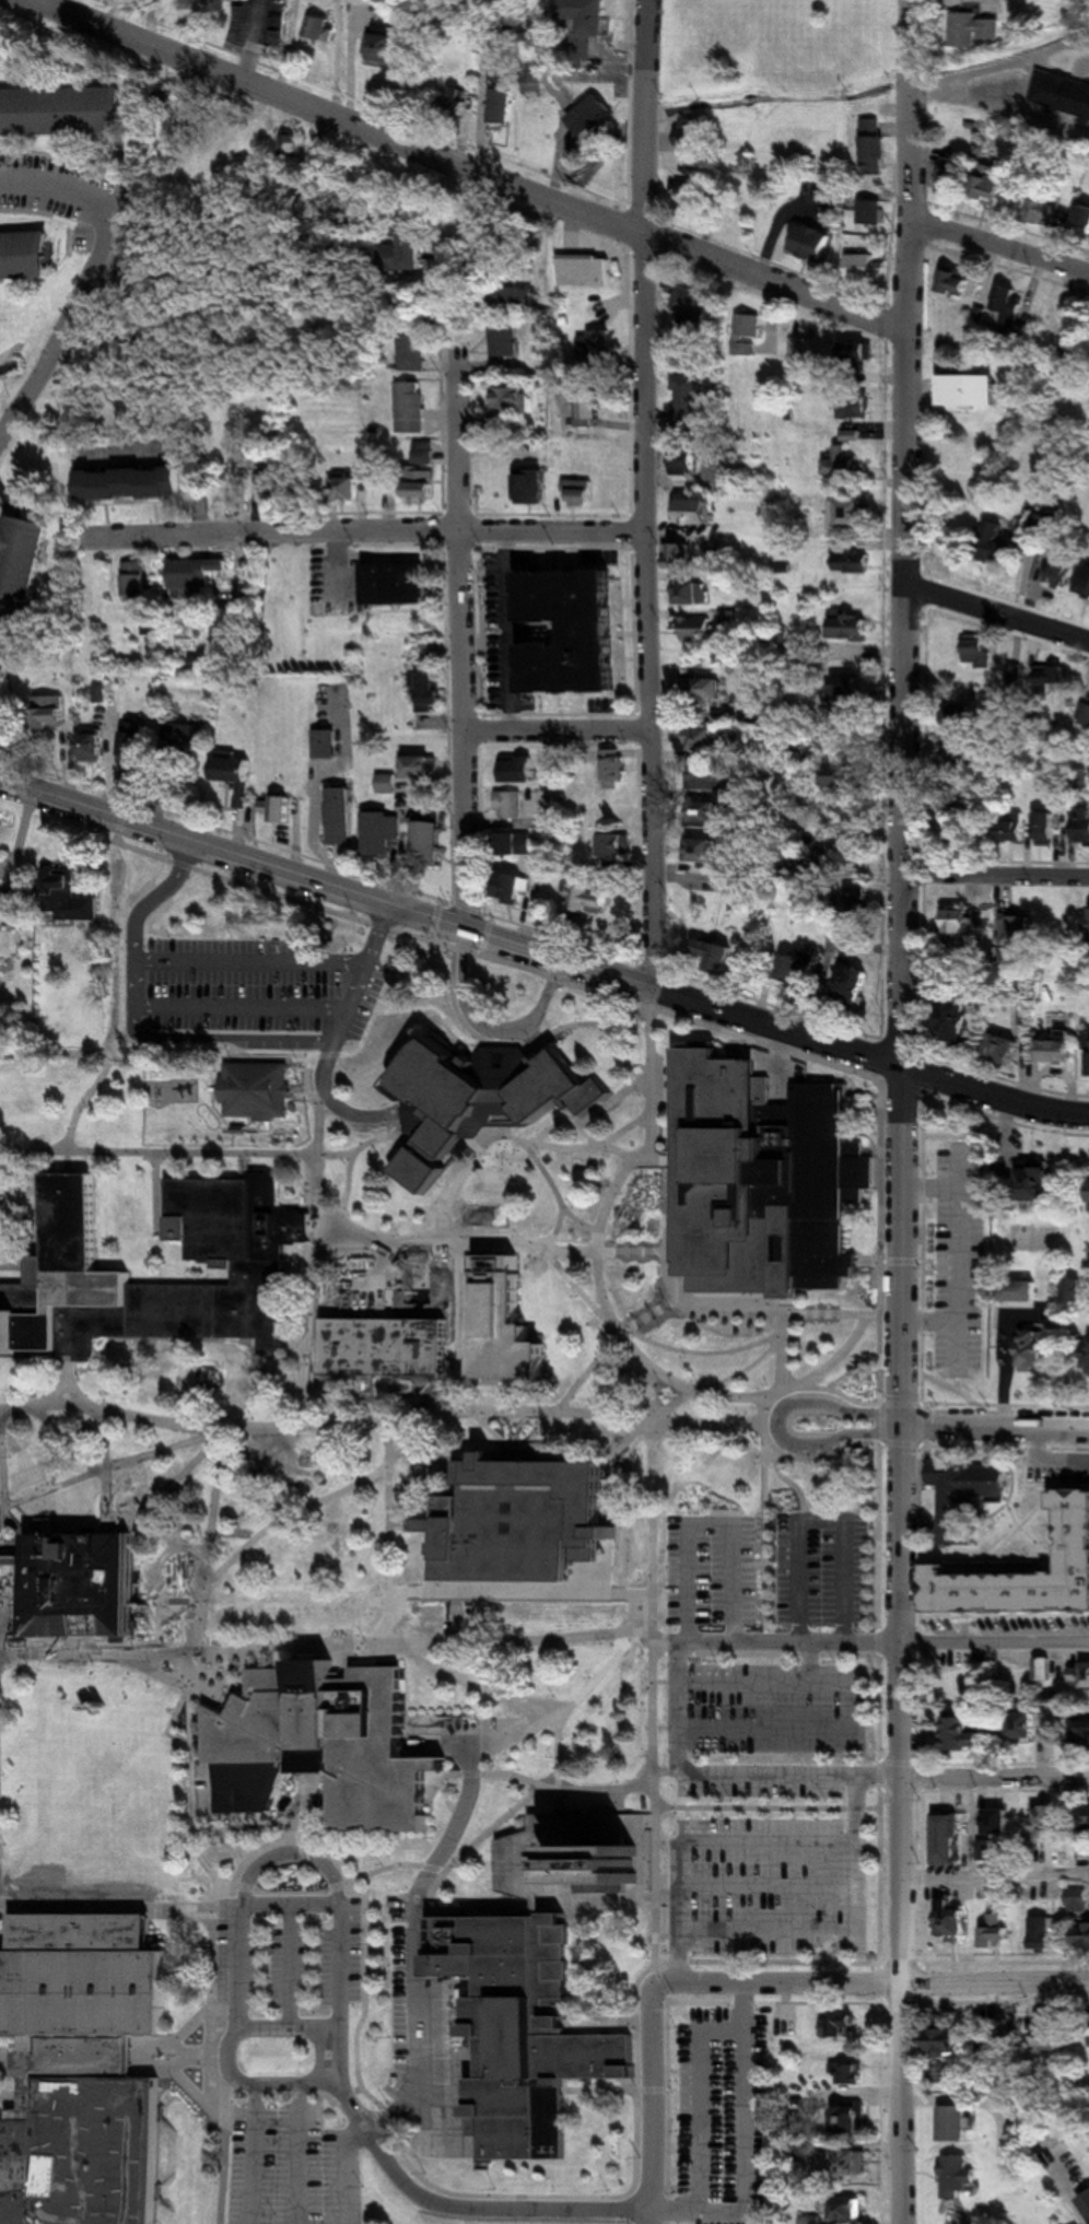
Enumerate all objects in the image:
road: (47, 3)
building: (583, 27)
building: (974, 28)
building: (324, 30)
road: (253, 42)
building: (384, 44)
park: (778, 49)
building: (502, 71)
building: (532, 78)
building: (457, 101)
building: (501, 107)
building: (63, 112)
building: (593, 115)
road: (658, 119)
road: (342, 120)
building: (694, 136)
building: (875, 149)
road: (909, 164)
building: (951, 173)
road: (555, 177)
building: (994, 185)
parking lot: (69, 204)
building: (870, 212)
building: (1049, 212)
building: (1084, 220)
building: (810, 243)
road: (998, 243)
building: (130, 250)
building: (407, 250)
building: (28, 256)
building: (860, 268)
building: (585, 271)
building: (959, 282)
road: (783, 284)
road: (87, 290)
building: (517, 299)
building: (692, 307)
building: (1007, 309)
building: (1050, 315)
building: (748, 335)
building: (506, 341)
building: (414, 348)
building: (598, 349)
building: (804, 349)
building: (858, 353)
building: (972, 391)
building: (512, 399)
building: (689, 402)
building: (853, 406)
building: (411, 408)
building: (592, 408)
building: (424, 454)
building: (684, 463)
building: (841, 465)
building: (133, 483)
building: (422, 484)
building: (532, 485)
building: (288, 489)
building: (350, 489)
building: (579, 493)
road: (136, 505)
building: (698, 513)
building: (848, 515)
road: (444, 517)
road: (171, 519)
road: (371, 532)
road: (3, 541)
building: (1014, 543)
building: (680, 555)
building: (853, 562)
building: (22, 569)
building: (499, 569)
building: (541, 569)
building: (576, 569)
building: (203, 574)
building: (1063, 575)
building: (142, 581)
building: (401, 583)
building: (1087, 587)
building: (694, 592)
building: (609, 605)
road: (997, 611)
road: (659, 614)
building: (733, 617)
building: (854, 623)
building: (699, 628)
road: (475, 643)
building: (979, 652)
building: (1017, 675)
building: (595, 676)
building: (1053, 679)
building: (541, 682)
building: (500, 688)
building: (707, 688)
building: (429, 690)
building: (853, 691)
road: (904, 699)
building: (1088, 700)
building: (51, 712)
building: (962, 715)
road: (567, 733)
building: (137, 737)
building: (711, 738)
building: (190, 739)
building: (326, 744)
building: (94, 746)
building: (963, 754)
building: (523, 764)
building: (422, 768)
building: (614, 771)
building: (238, 774)
building: (845, 775)
building: (712, 776)
road: (63, 777)
building: (388, 783)
building: (1074, 784)
building: (511, 805)
building: (281, 807)
building: (709, 811)
building: (340, 816)
building: (548, 820)
building: (958, 821)
building: (1014, 826)
building: (1085, 826)
building: (1049, 828)
building: (383, 831)
building: (618, 843)
building: (428, 844)
building: (522, 844)
building: (711, 848)
building: (842, 851)
road: (996, 871)
road: (397, 885)
building: (515, 889)
building: (593, 894)
building: (863, 897)
building: (69, 899)
building: (13, 901)
building: (964, 918)
road: (452, 924)
building: (1016, 926)
building: (719, 955)
building: (808, 963)
road: (248, 974)
road: (578, 985)
building: (855, 987)
parking lot: (238, 998)
road: (408, 1004)
building: (960, 1019)
road: (206, 1022)
road: (491, 1028)
road: (876, 1038)
road: (519, 1044)
building: (1007, 1047)
building: (1058, 1047)
road: (99, 1082)
building: (258, 1090)
building: (492, 1095)
road: (996, 1096)
road: (328, 1099)
road: (625, 1129)
road: (956, 1135)
road: (959, 1142)
road: (520, 1145)
road: (601, 1147)
road: (159, 1151)
road: (157, 1159)
road: (1, 1164)
building: (762, 1178)
building: (1041, 1182)
road: (936, 1187)
road: (164, 1189)
road: (341, 1220)
road: (557, 1228)
road: (315, 1231)
road: (457, 1242)
road: (597, 1246)
road: (912, 1246)
parking lot: (959, 1259)
road: (935, 1261)
road: (959, 1261)
road: (878, 1263)
road: (13, 1266)
building: (63, 1267)
road: (313, 1281)
building: (1023, 1291)
road: (670, 1295)
road: (873, 1314)
building: (494, 1322)
road: (935, 1323)
road: (458, 1325)
road: (646, 1339)
building: (388, 1345)
building: (1038, 1350)
road: (781, 1353)
road: (833, 1360)
road: (270, 1379)
road: (959, 1383)
road: (68, 1385)
road: (956, 1391)
road: (571, 1393)
road: (387, 1396)
road: (675, 1404)
road: (838, 1407)
road: (460, 1409)
road: (388, 1417)
road: (996, 1428)
road: (833, 1440)
road: (68, 1442)
road: (450, 1460)
road: (538, 1460)
road: (114, 1465)
road: (106, 1471)
road: (446, 1476)
road: (220, 1478)
road: (177, 1479)
building: (1067, 1479)
road: (797, 1488)
road: (868, 1502)
building: (967, 1503)
road: (405, 1512)
road: (289, 1518)
building: (524, 1519)
road: (712, 1525)
road: (825, 1526)
road: (389, 1530)
road: (766, 1535)
park: (300, 1538)
road: (2, 1558)
road: (16, 1559)
building: (2, 1560)
road: (769, 1565)
road: (671, 1567)
parking lot: (822, 1567)
parking lot: (711, 1570)
building: (1088, 1581)
building: (86, 1583)
road: (539, 1591)
road: (400, 1595)
building: (973, 1605)
road: (995, 1642)
road: (340, 1644)
road: (165, 1647)
road: (813, 1664)
building: (1044, 1669)
building: (1082, 1674)
road: (667, 1681)
road: (484, 1688)
road: (654, 1700)
road: (679, 1707)
parking lot: (777, 1708)
road: (566, 1709)
road: (854, 1710)
road: (171, 1724)
road: (666, 1728)
building: (1026, 1729)
building: (1087, 1729)
building: (968, 1732)
building: (329, 1744)
road: (560, 1748)
road: (666, 1770)
road: (192, 1772)
road: (494, 1775)
park: (98, 1778)
road: (995, 1782)
parking lot: (762, 1790)
road: (301, 1805)
road: (520, 1805)
road: (776, 1807)
road: (681, 1823)
building: (1000, 1823)
building: (1086, 1823)
road: (900, 1824)
road: (246, 1828)
building: (1045, 1830)
building: (949, 1839)
road: (694, 1840)
road: (276, 1841)
road: (665, 1842)
road: (293, 1852)
building: (575, 1862)
road: (397, 1866)
road: (994, 1878)
road: (766, 1887)
parking lot: (776, 1887)
road: (289, 1893)
building: (1079, 1900)
road: (120, 1905)
road: (293, 1907)
road: (419, 1910)
building: (956, 1919)
building: (997, 1925)
building: (1045, 1928)
road: (845, 1934)
road: (0, 1939)
road: (212, 1950)
parking lot: (309, 1958)
road: (294, 1967)
road: (869, 1985)
road: (378, 1991)
parking lot: (414, 2004)
road: (753, 2009)
building: (841, 2027)
building: (529, 2030)
building: (759, 2030)
road: (239, 2032)
building: (1055, 2032)
road: (752, 2034)
building: (1008, 2037)
building: (704, 2041)
building: (952, 2042)
road: (152, 2056)
road: (177, 2060)
road: (7, 2065)
building: (78, 2070)
building: (853, 2074)
road: (646, 2094)
road: (9, 2098)
road: (654, 2103)
building: (857, 2119)
building: (960, 2124)
road: (230, 2150)
road: (262, 2153)
road: (309, 2153)
parking lot: (724, 2164)
building: (855, 2164)
parking lot: (294, 2166)
road: (353, 2170)
building: (960, 2178)
building: (1088, 2196)
road: (489, 2198)
road: (465, 2209)
road: (680, 2211)
building: (853, 2211)

